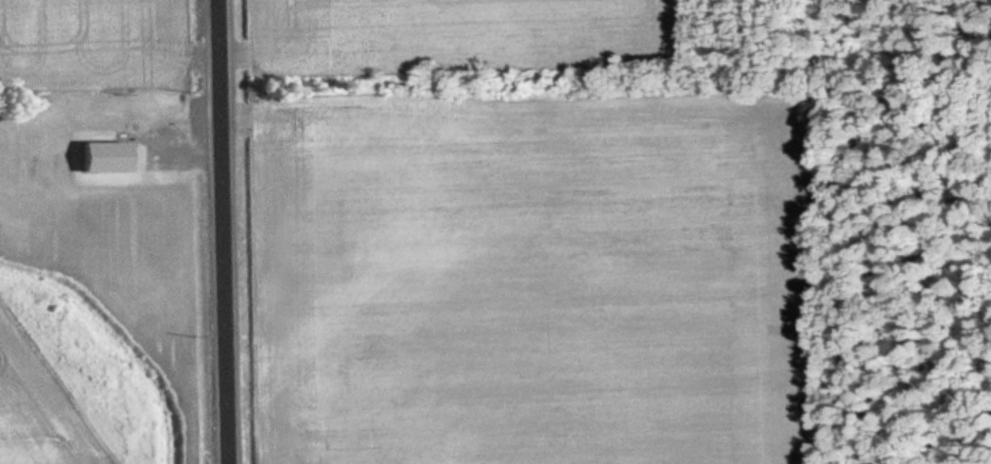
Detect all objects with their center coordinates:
road: (224, 232)

